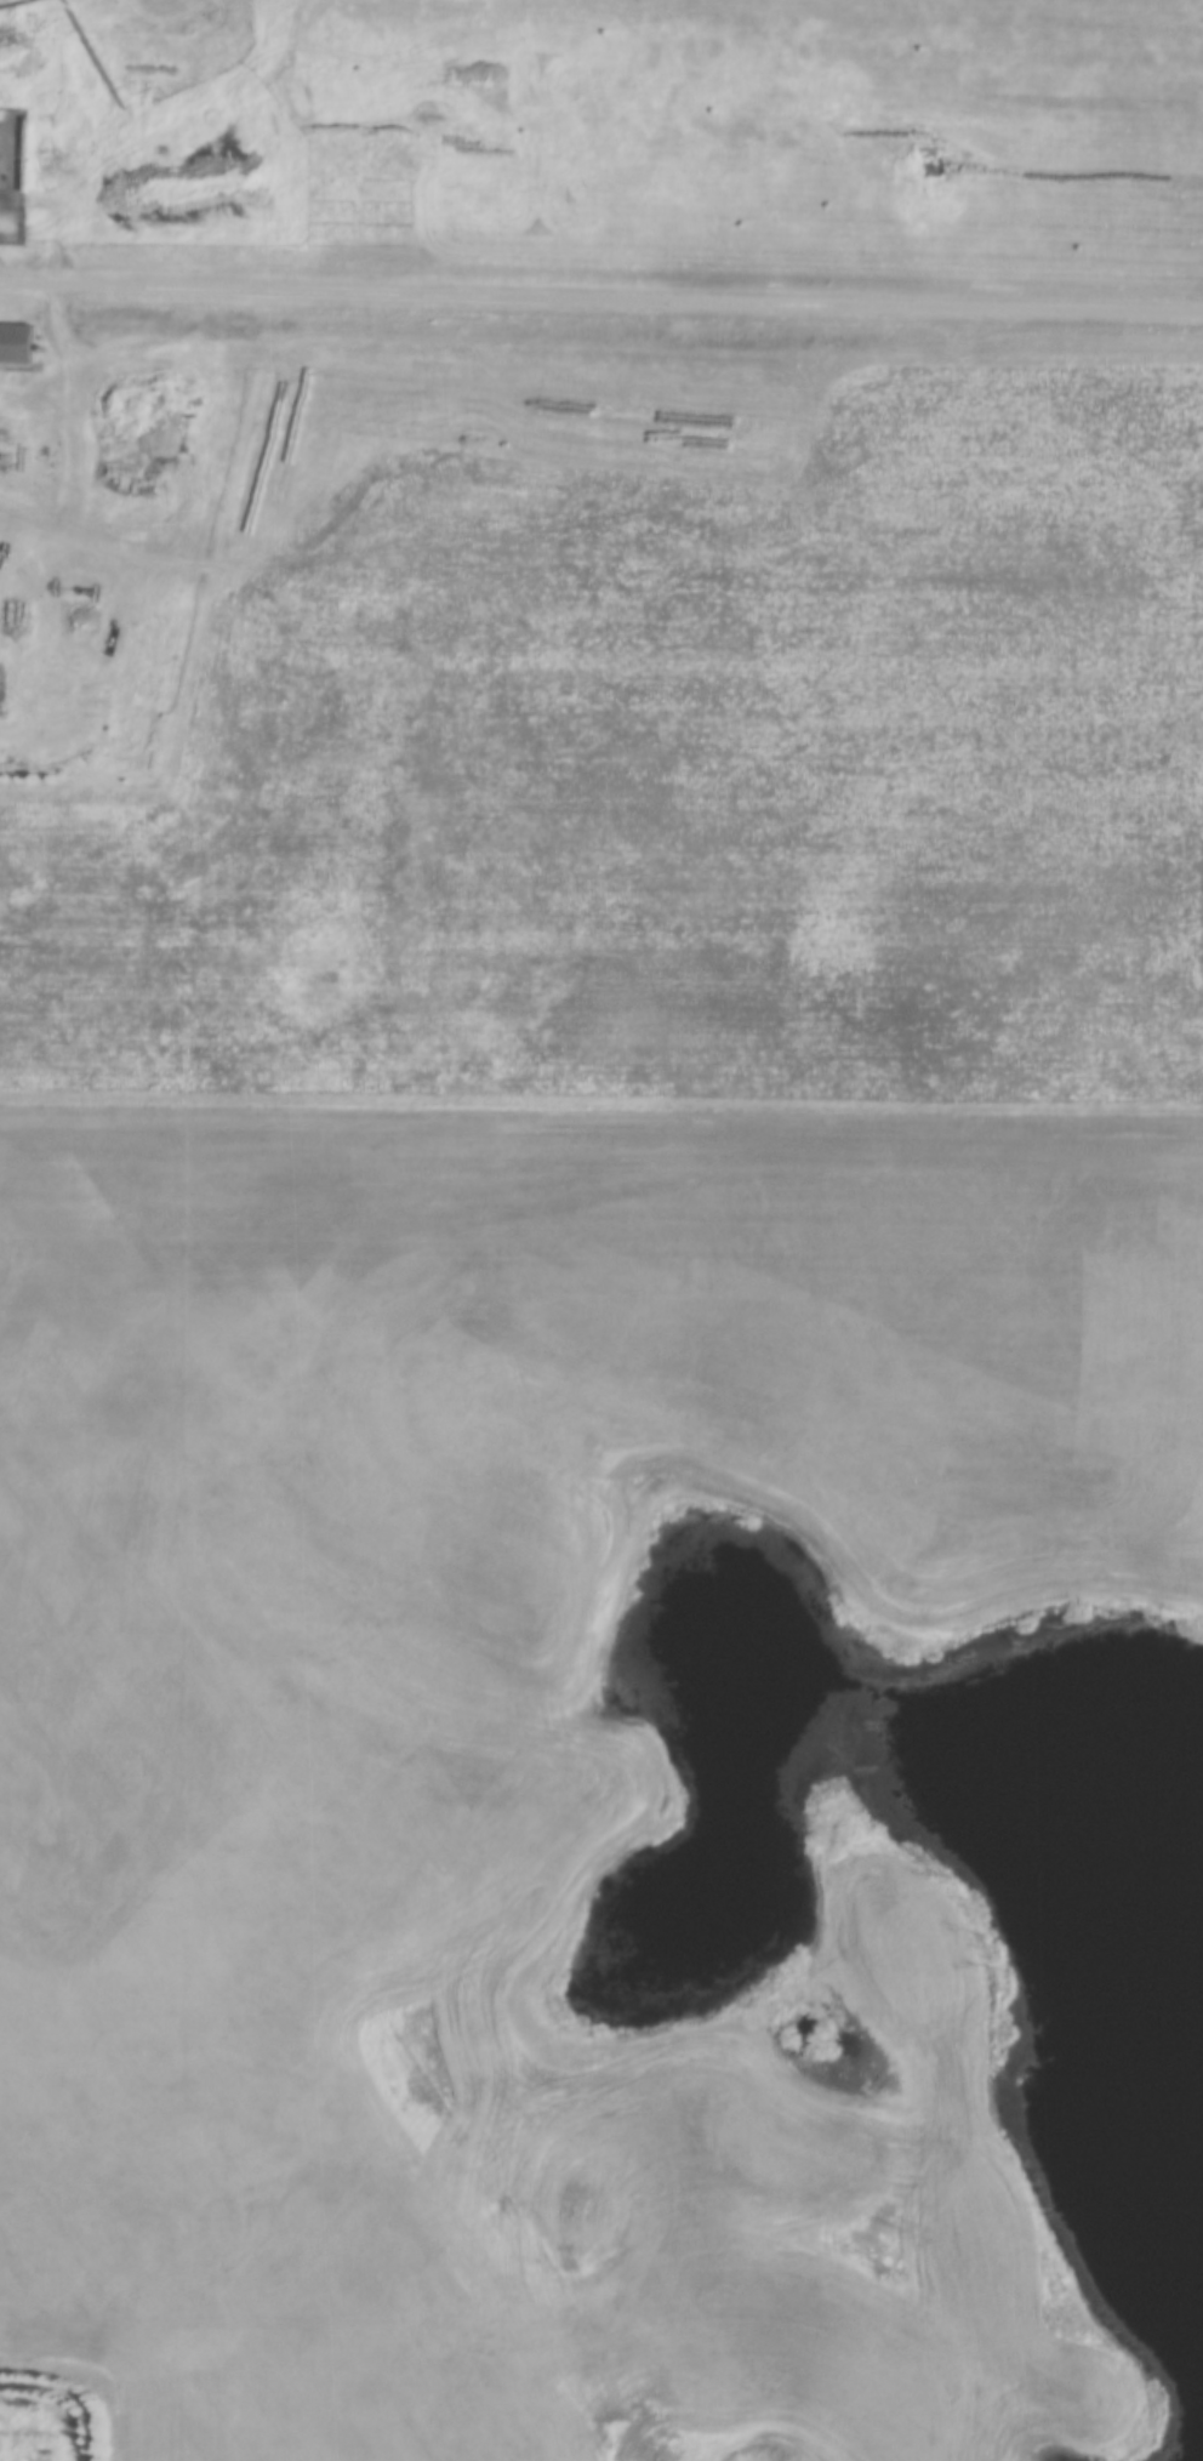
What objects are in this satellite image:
road: (601, 295)
building: (13, 334)

